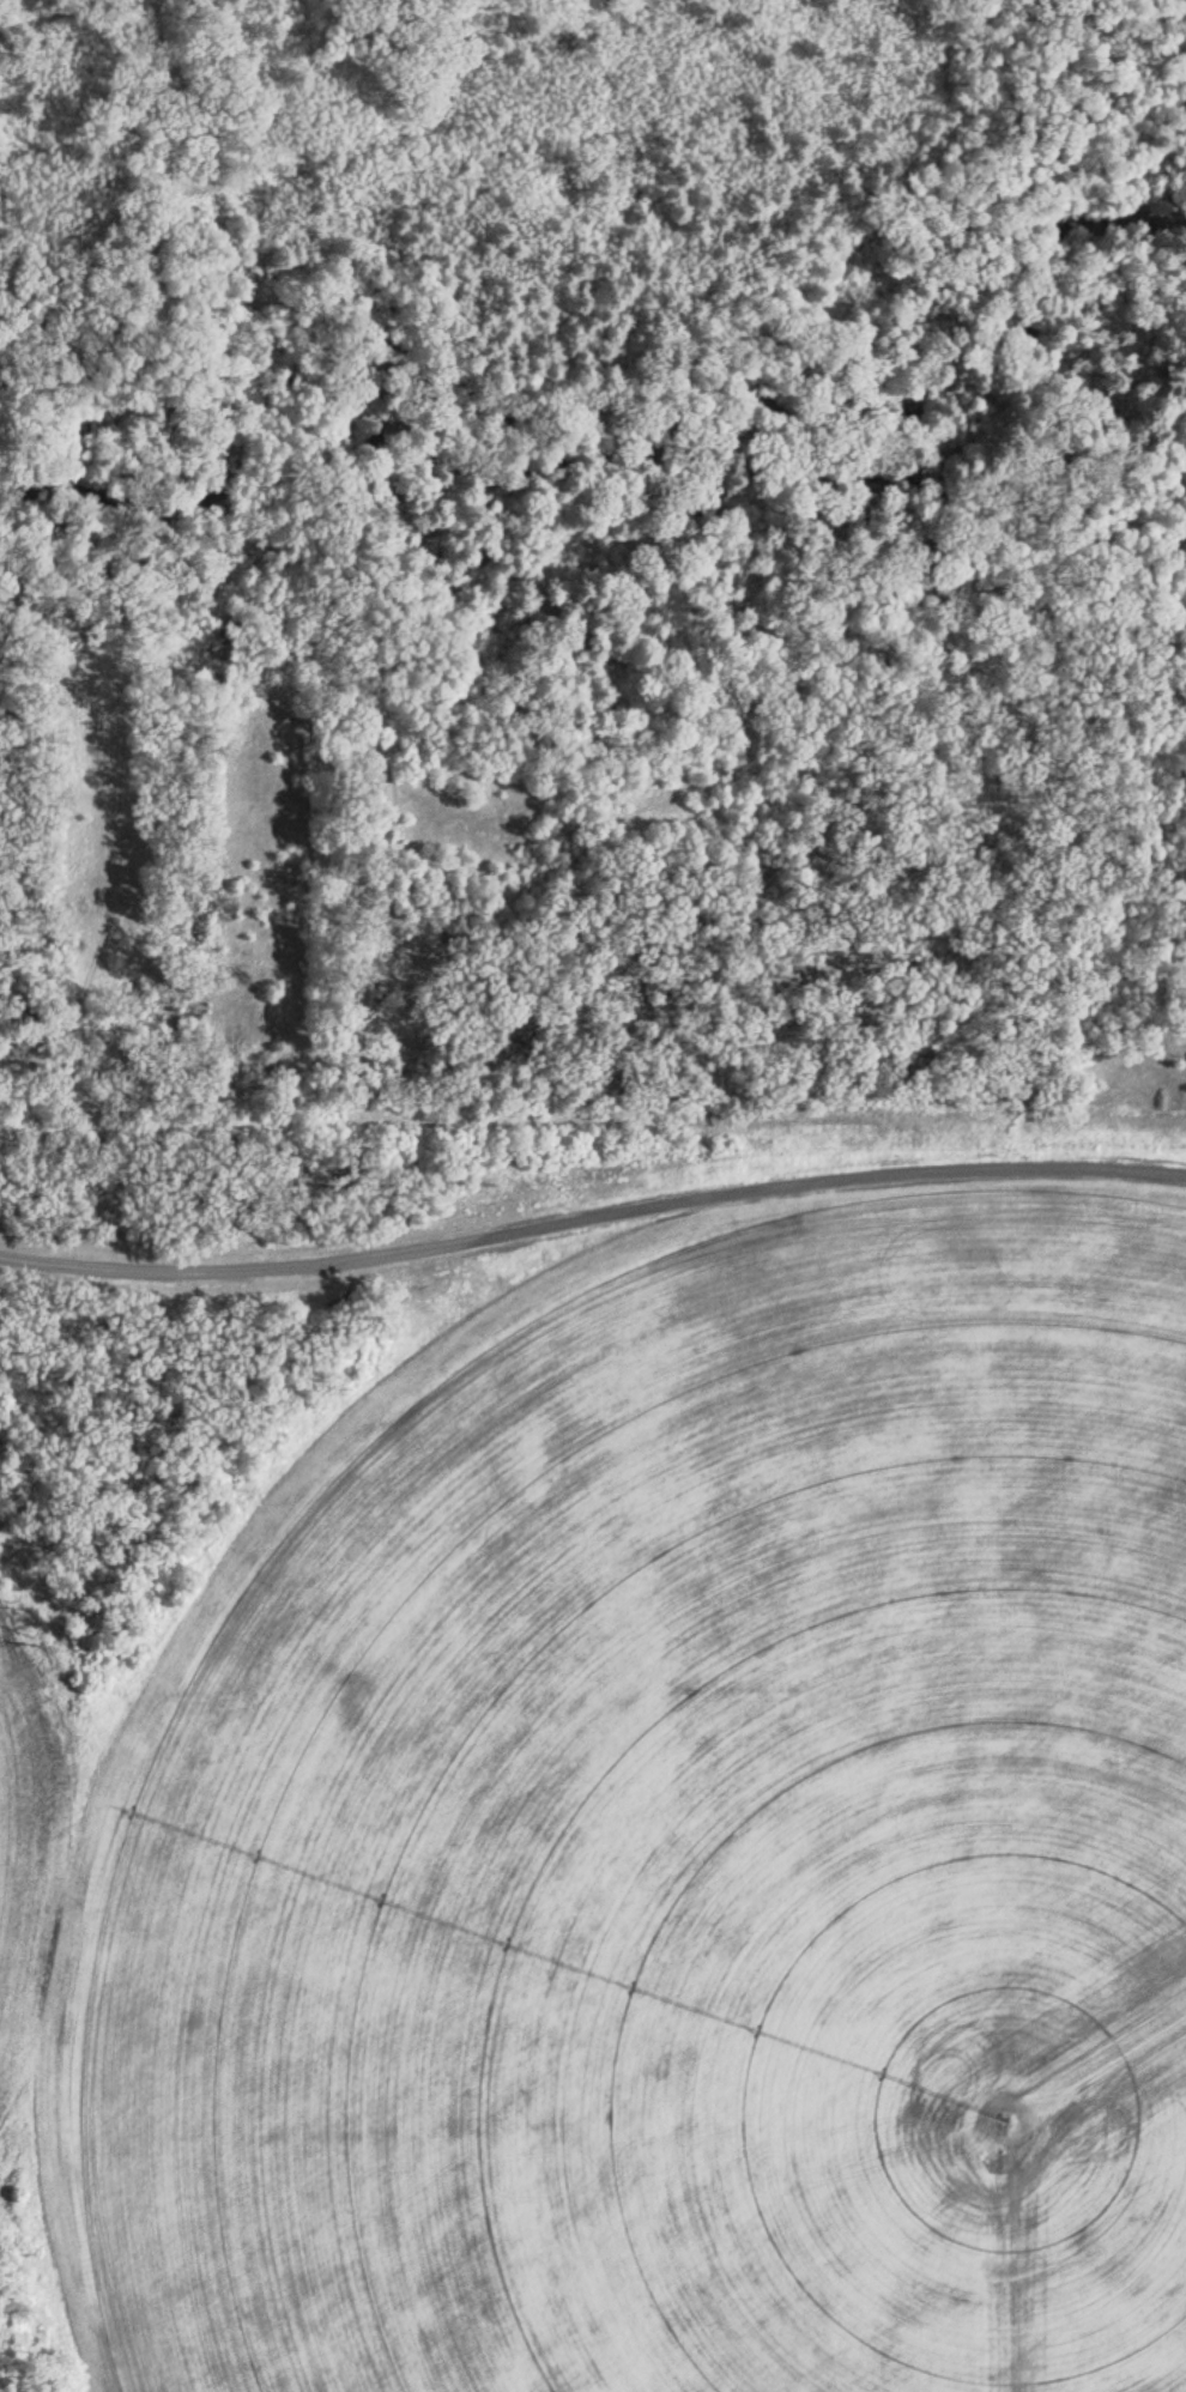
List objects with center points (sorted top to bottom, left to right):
road: (40, 13)
road: (173, 170)
road: (480, 413)
road: (152, 740)
road: (593, 1127)
wastewater plant: (592, 1762)

